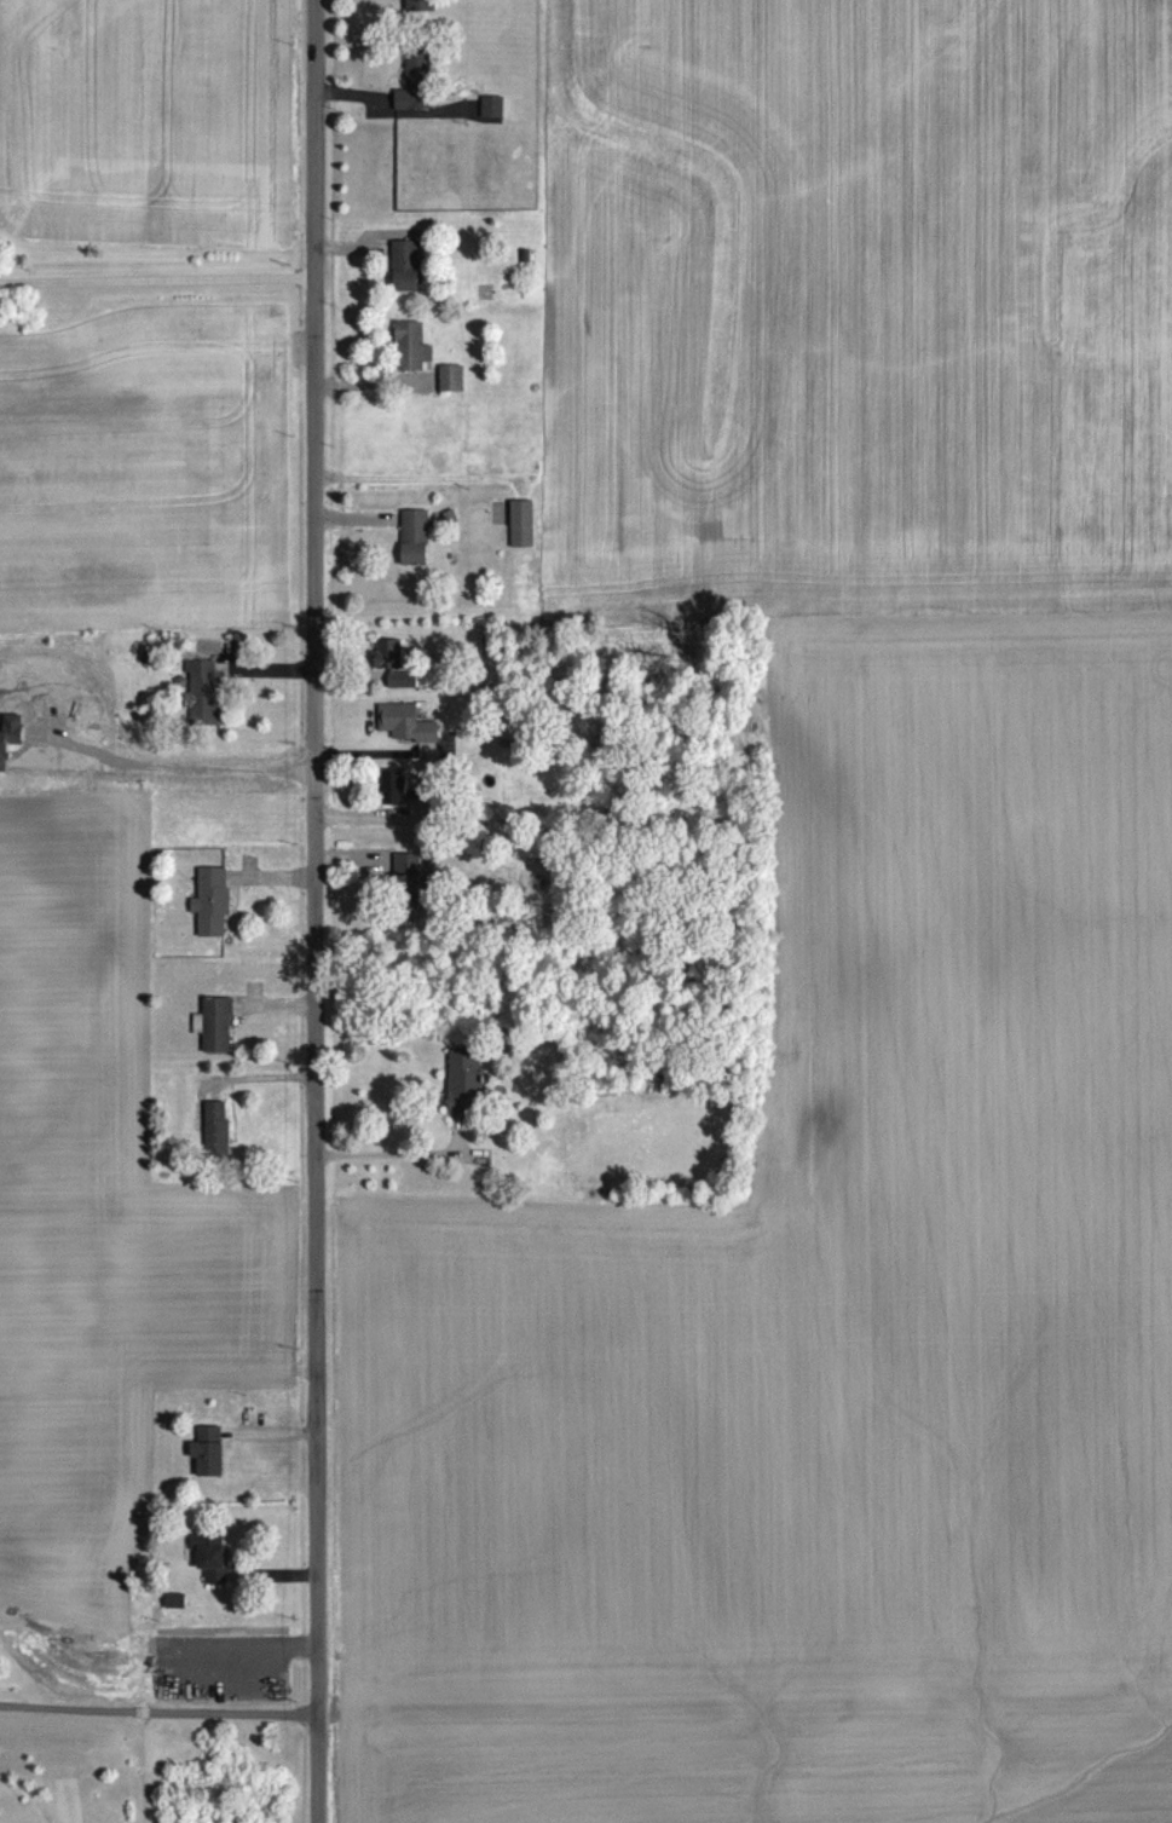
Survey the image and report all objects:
building: (417, 11)
building: (415, 97)
building: (491, 120)
road: (157, 278)
building: (405, 279)
building: (412, 360)
building: (451, 392)
road: (411, 474)
building: (523, 537)
building: (415, 552)
building: (394, 679)
building: (202, 705)
building: (405, 737)
building: (403, 802)
building: (410, 895)
road: (318, 911)
building: (210, 916)
building: (214, 1038)
road: (256, 1074)
building: (463, 1096)
building: (216, 1142)
road: (391, 1150)
building: (208, 1465)
building: (212, 1573)
building: (174, 1615)
road: (160, 1709)

